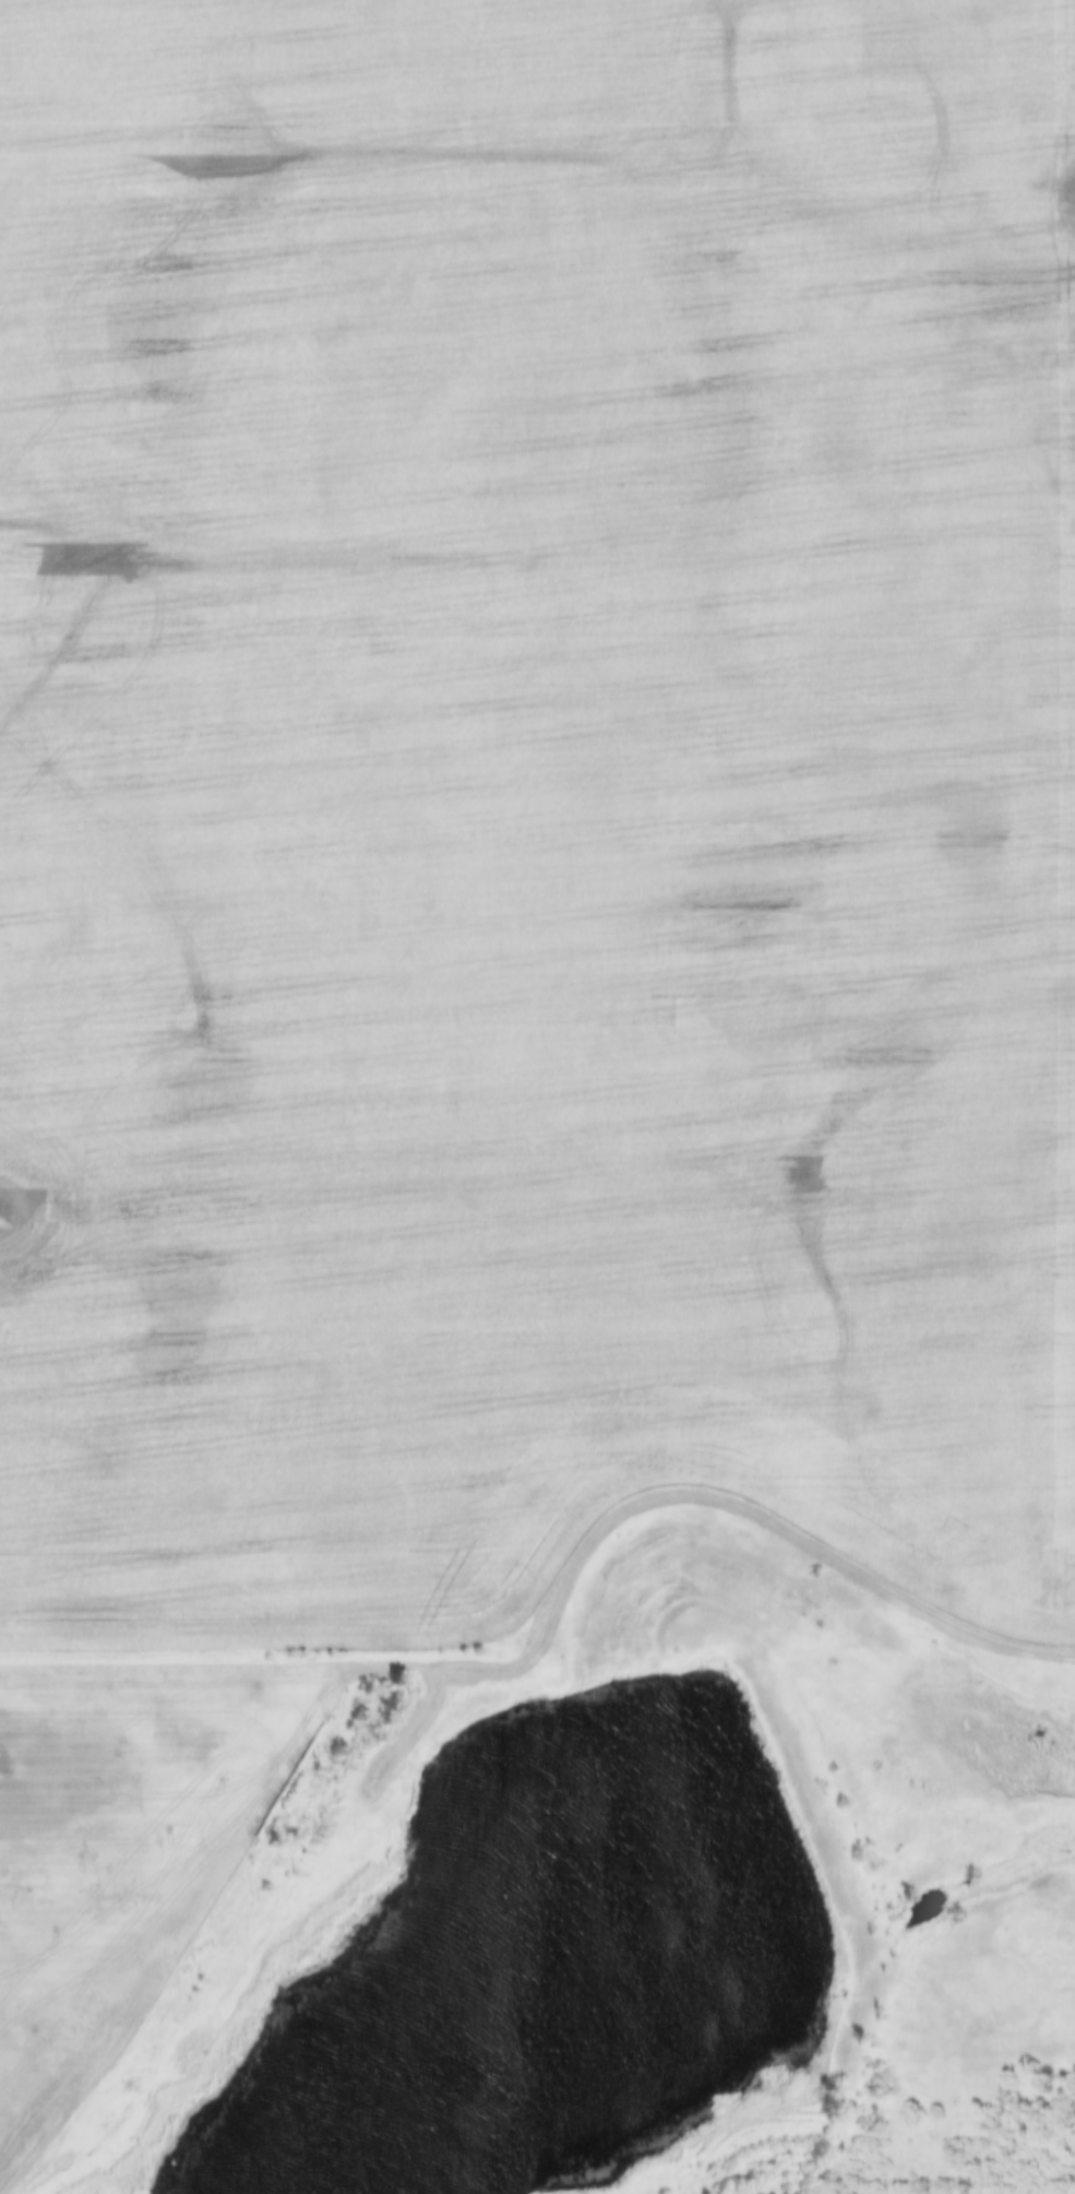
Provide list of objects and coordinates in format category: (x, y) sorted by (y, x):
road: (563, 1604)

